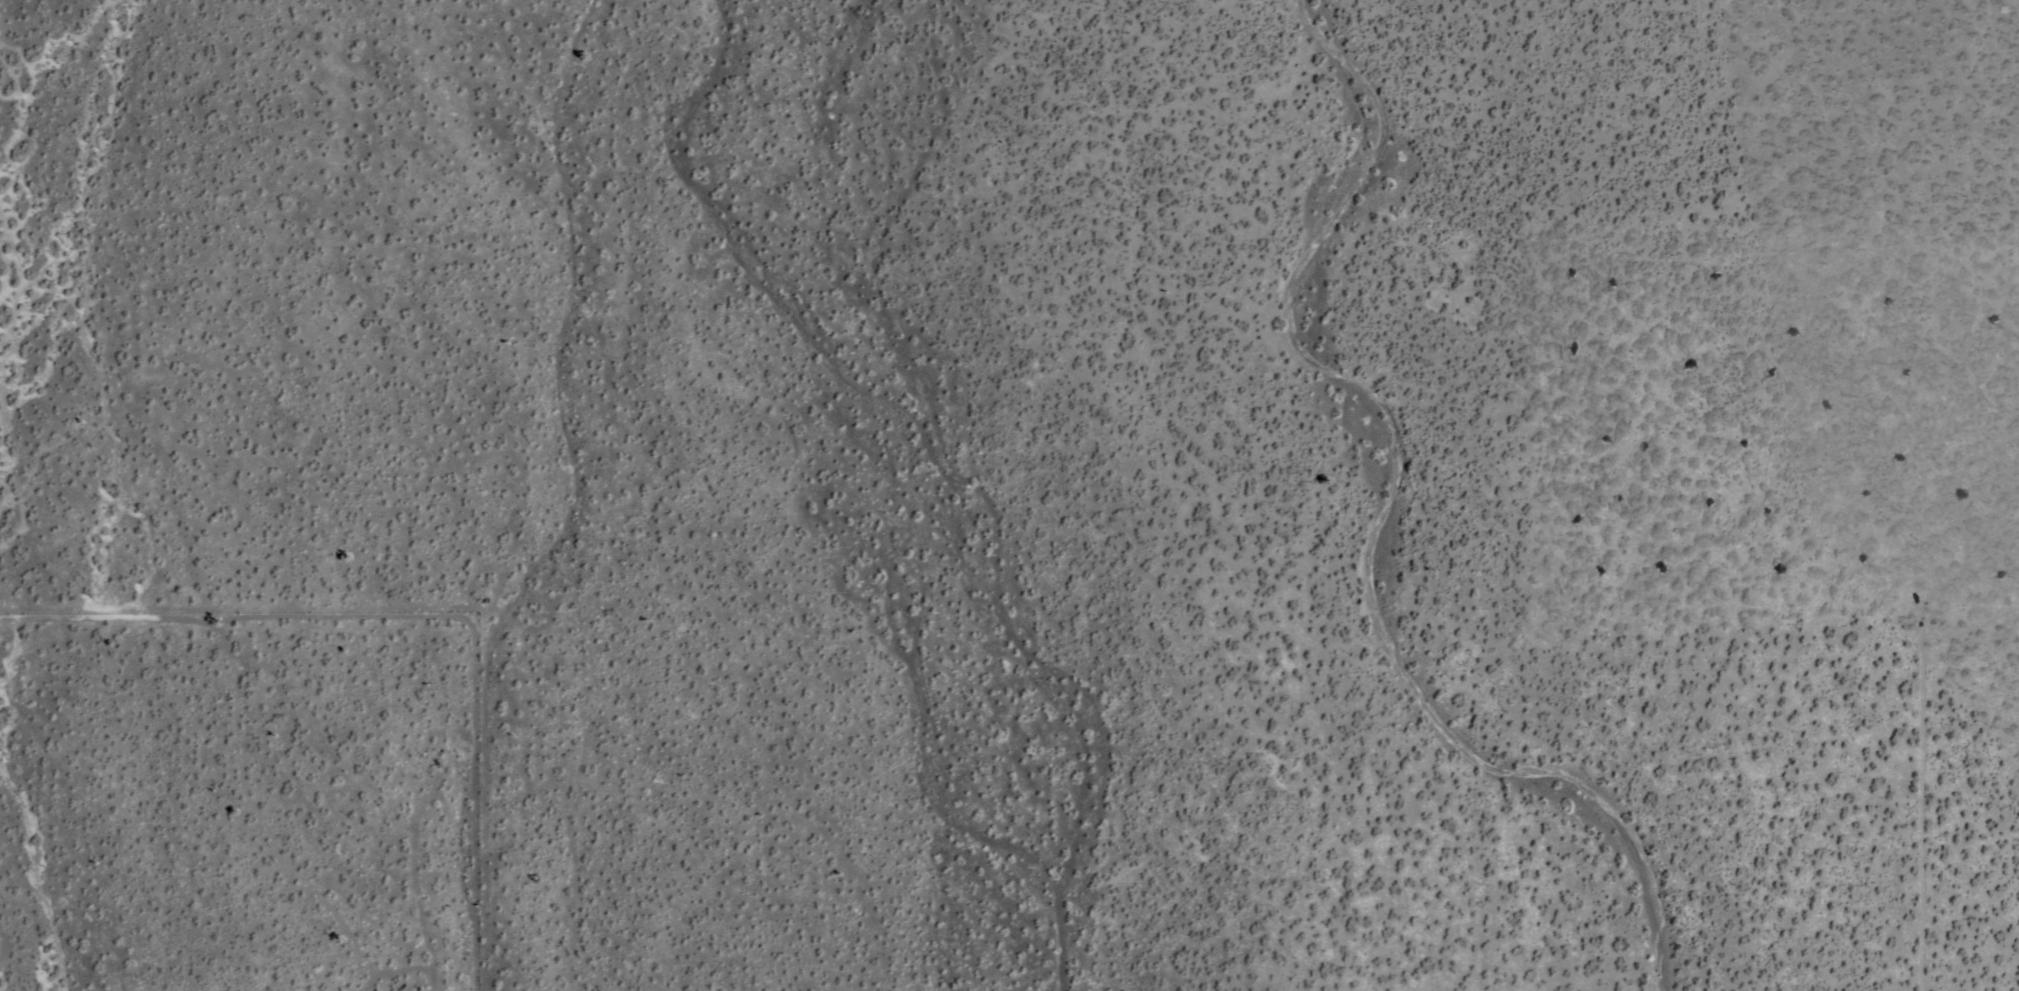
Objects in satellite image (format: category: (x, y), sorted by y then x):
road: (432, 609)

